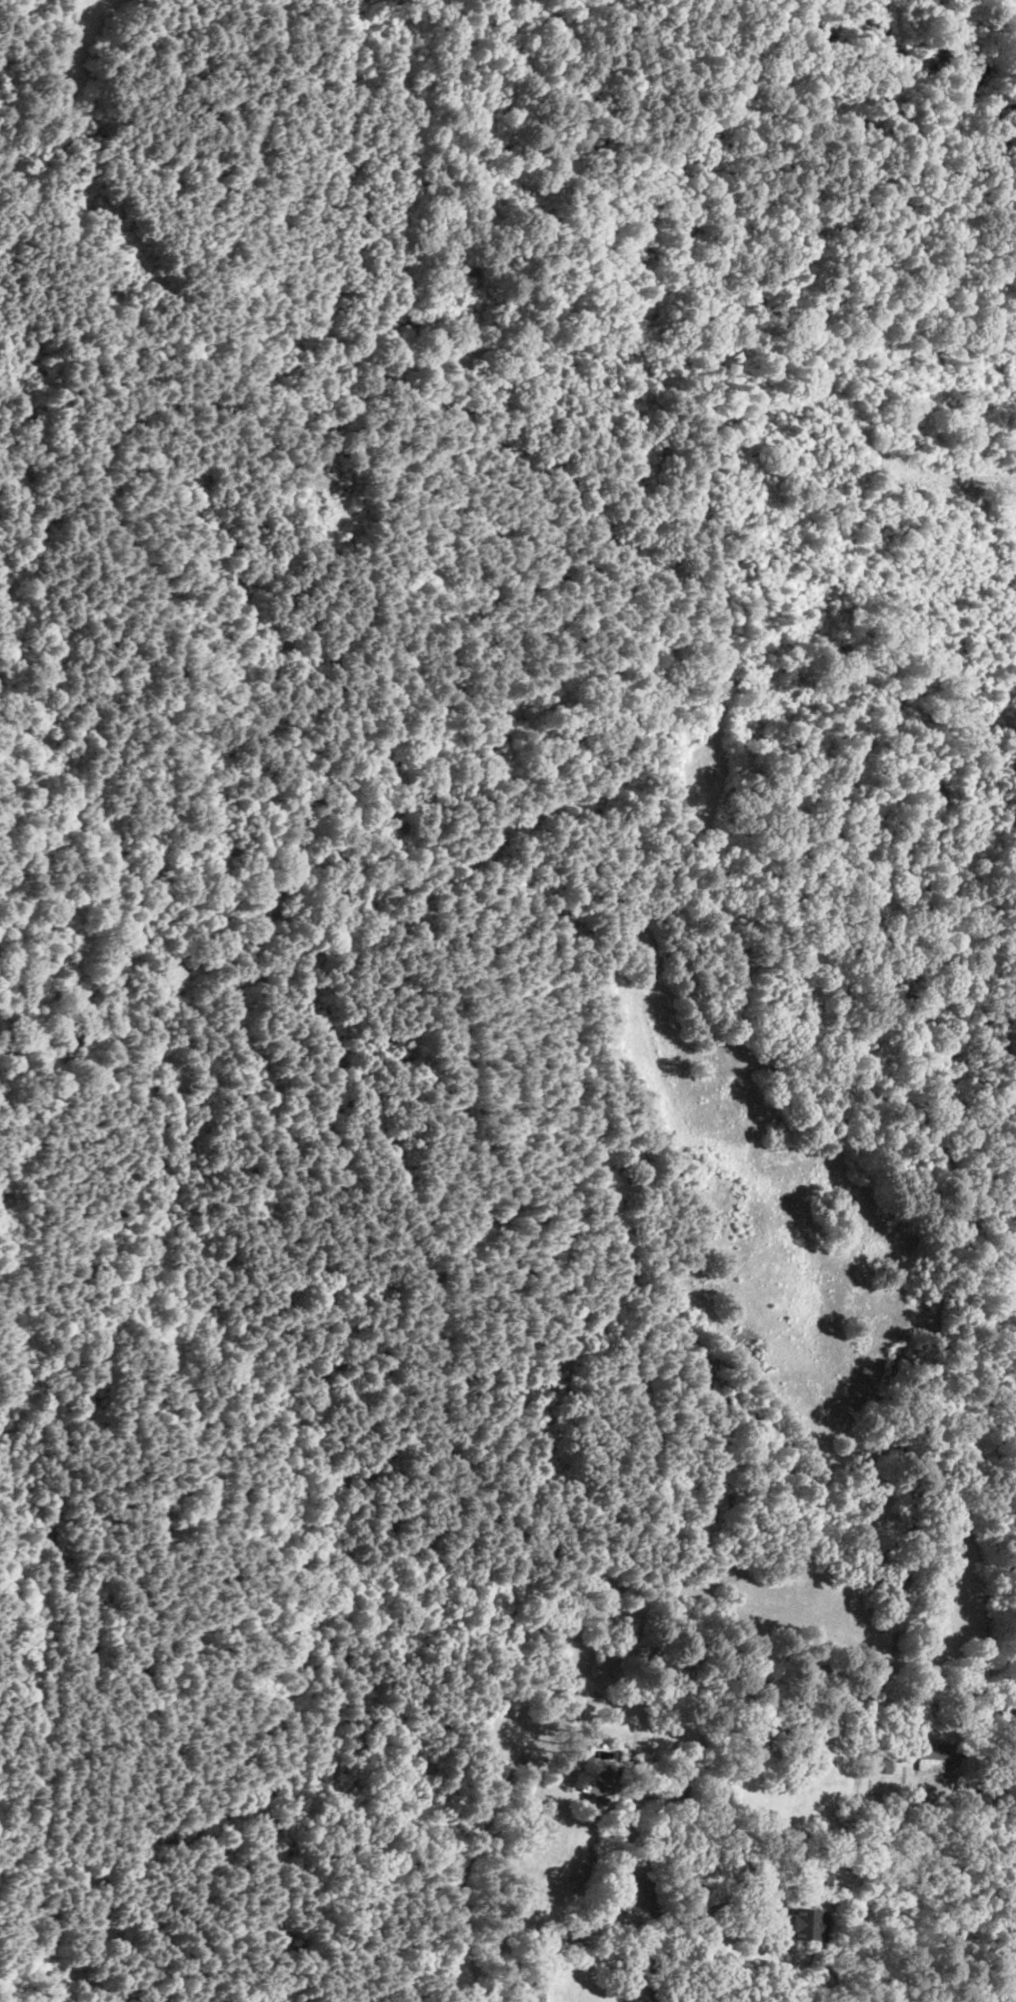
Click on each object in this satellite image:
building: (936, 1756)
building: (595, 1783)
building: (807, 1924)

